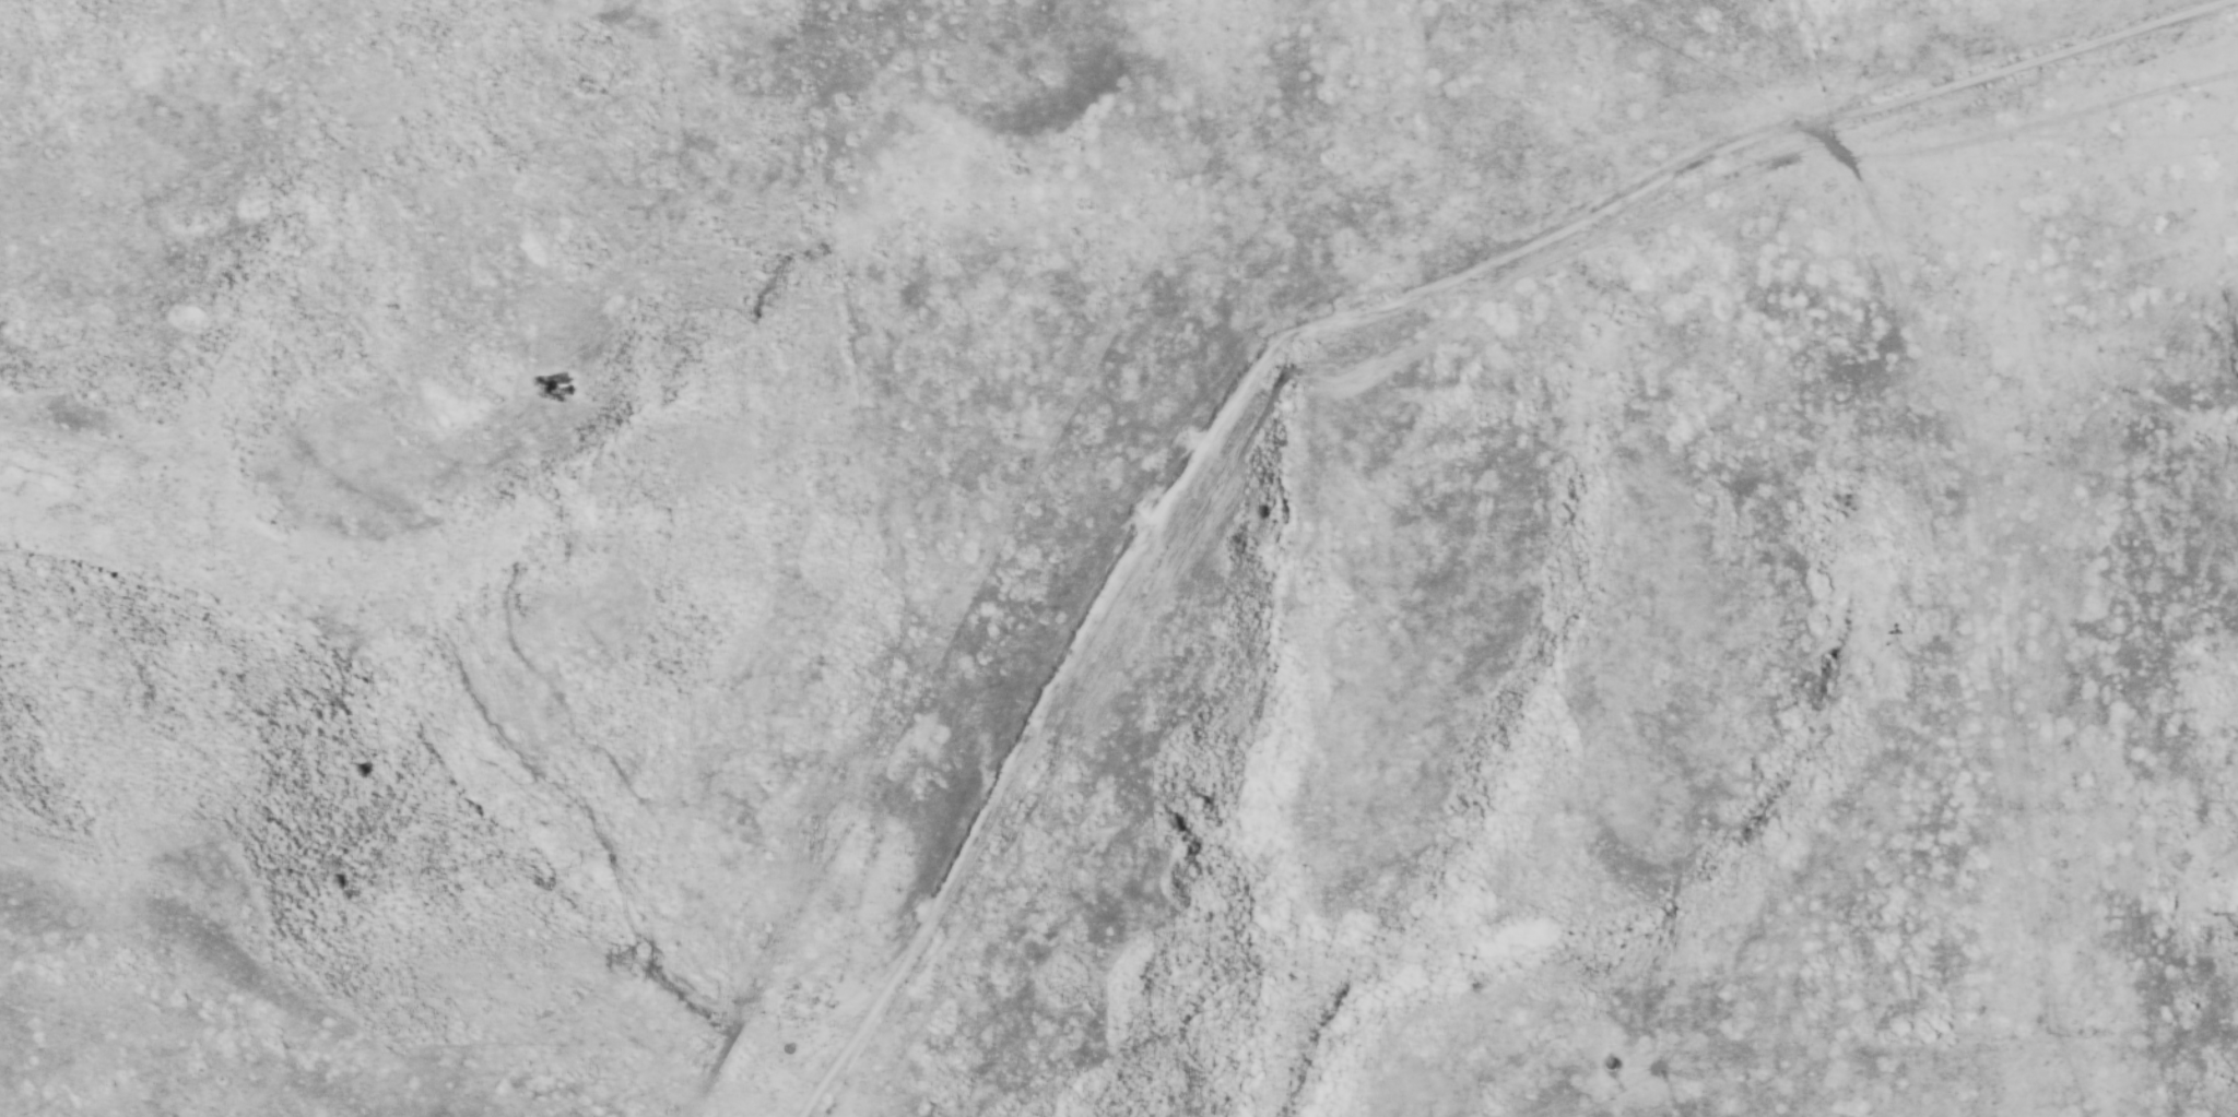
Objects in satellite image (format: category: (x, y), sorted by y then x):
road: (1336, 328)

